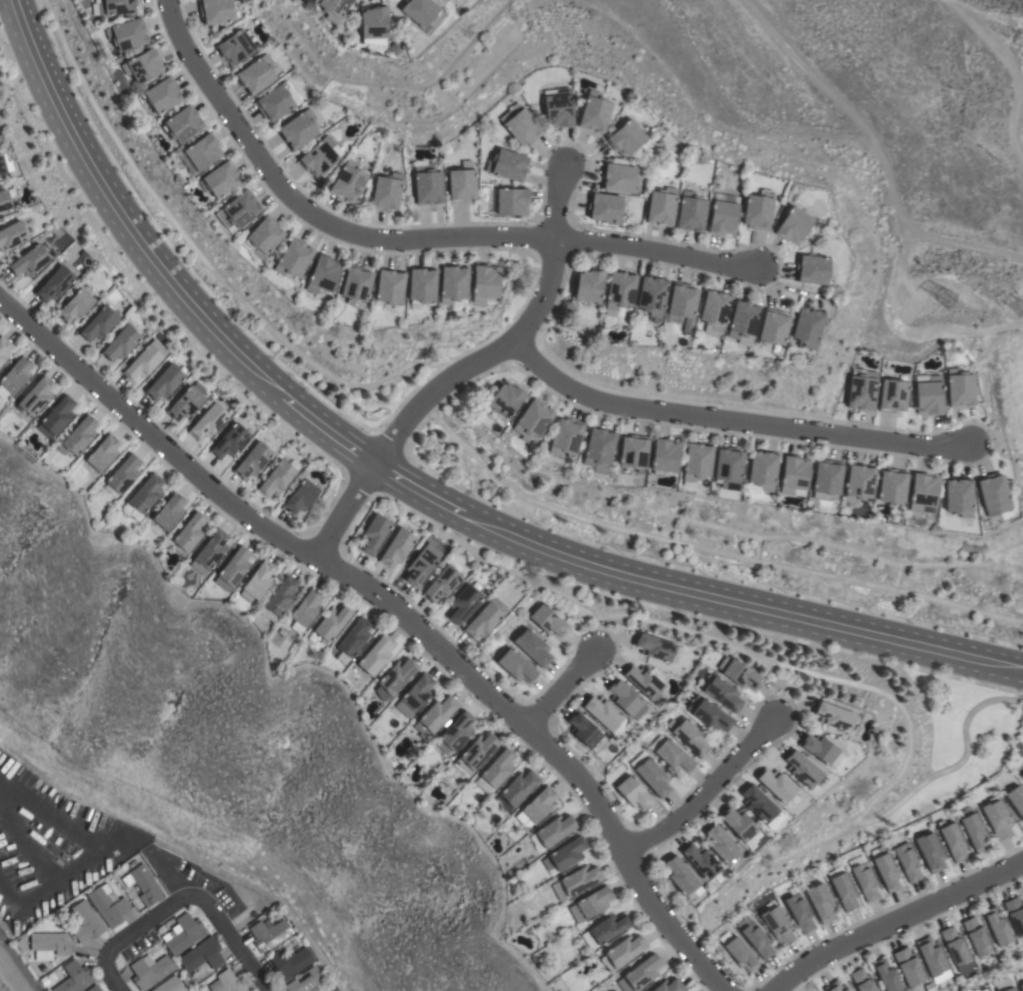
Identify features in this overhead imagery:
building: (111, 6)
building: (333, 8)
building: (420, 10)
building: (215, 11)
building: (373, 25)
building: (126, 34)
building: (235, 47)
building: (143, 65)
building: (256, 74)
building: (162, 95)
building: (274, 103)
building: (558, 107)
building: (595, 113)
building: (182, 124)
building: (521, 124)
building: (299, 129)
building: (626, 137)
building: (202, 151)
building: (320, 155)
building: (508, 164)
building: (2, 165)
building: (620, 177)
building: (221, 179)
building: (348, 181)
building: (427, 184)
building: (462, 184)
building: (386, 191)
building: (4, 199)
building: (509, 200)
building: (604, 206)
building: (661, 206)
building: (238, 209)
building: (758, 209)
building: (691, 211)
building: (723, 215)
building: (794, 225)
building: (11, 234)
building: (262, 237)
road: (405, 239)
building: (293, 258)
building: (29, 260)
building: (812, 269)
building: (323, 274)
building: (485, 282)
building: (54, 283)
building: (453, 283)
building: (588, 284)
building: (421, 285)
building: (356, 286)
building: (389, 286)
building: (619, 291)
building: (652, 295)
building: (682, 300)
power tower: (951, 301)
building: (76, 305)
building: (714, 309)
building: (743, 319)
building: (99, 323)
building: (807, 326)
building: (773, 327)
building: (121, 342)
building: (3, 348)
building: (145, 360)
road: (466, 370)
building: (14, 376)
building: (164, 382)
building: (960, 387)
building: (862, 388)
building: (929, 394)
building: (893, 395)
building: (36, 396)
building: (505, 398)
building: (187, 401)
building: (56, 417)
building: (532, 419)
road: (733, 420)
building: (208, 421)
building: (78, 436)
building: (565, 437)
building: (230, 441)
building: (598, 449)
building: (633, 451)
building: (102, 453)
building: (664, 455)
building: (252, 460)
building: (697, 461)
building: (728, 466)
building: (762, 469)
building: (124, 473)
building: (795, 475)
building: (277, 478)
road: (418, 478)
building: (827, 479)
building: (859, 482)
building: (892, 485)
building: (924, 492)
building: (994, 492)
building: (145, 493)
road: (403, 494)
building: (300, 496)
building: (959, 496)
building: (168, 511)
building: (189, 532)
building: (374, 533)
building: (396, 547)
building: (211, 549)
building: (422, 564)
building: (233, 568)
building: (257, 581)
building: (442, 583)
building: (281, 596)
building: (463, 603)
building: (497, 604)
road: (398, 608)
building: (305, 609)
building: (482, 620)
building: (548, 620)
building: (332, 622)
building: (354, 637)
building: (533, 647)
building: (654, 647)
building: (375, 654)
building: (517, 665)
building: (738, 672)
building: (394, 678)
building: (643, 680)
road: (562, 688)
building: (722, 692)
building: (415, 694)
building: (627, 699)
building: (602, 712)
building: (709, 713)
building: (834, 715)
building: (434, 716)
building: (583, 729)
building: (455, 732)
building: (690, 736)
building: (820, 748)
building: (475, 753)
building: (671, 754)
building: (836, 761)
building: (803, 769)
building: (495, 771)
building: (651, 773)
building: (1022, 777)
building: (777, 785)
building: (516, 789)
building: (633, 792)
road: (707, 793)
building: (1016, 799)
building: (758, 802)
building: (536, 805)
building: (997, 819)
building: (741, 825)
building: (555, 829)
building: (974, 831)
building: (954, 841)
building: (721, 843)
building: (931, 851)
building: (565, 854)
building: (700, 860)
building: (908, 862)
building: (886, 868)
building: (682, 877)
building: (576, 881)
building: (865, 882)
building: (143, 883)
building: (844, 891)
building: (821, 901)
building: (590, 903)
building: (108, 904)
building: (799, 911)
building: (1015, 913)
road: (219, 917)
building: (85, 921)
road: (895, 922)
building: (778, 924)
building: (999, 927)
building: (604, 929)
building: (183, 933)
building: (269, 933)
building: (756, 936)
building: (977, 936)
building: (49, 944)
building: (955, 945)
building: (623, 950)
road: (112, 951)
building: (202, 954)
building: (741, 954)
building: (933, 958)
building: (290, 961)
building: (909, 966)
building: (150, 970)
building: (640, 973)
building: (887, 975)
building: (73, 977)
building: (306, 980)
building: (862, 980)
building: (230, 981)
building: (1005, 984)
building: (169, 985)
building: (669, 985)
building: (835, 986)
building: (1021, 986)
building: (94, 988)
building: (981, 990)

